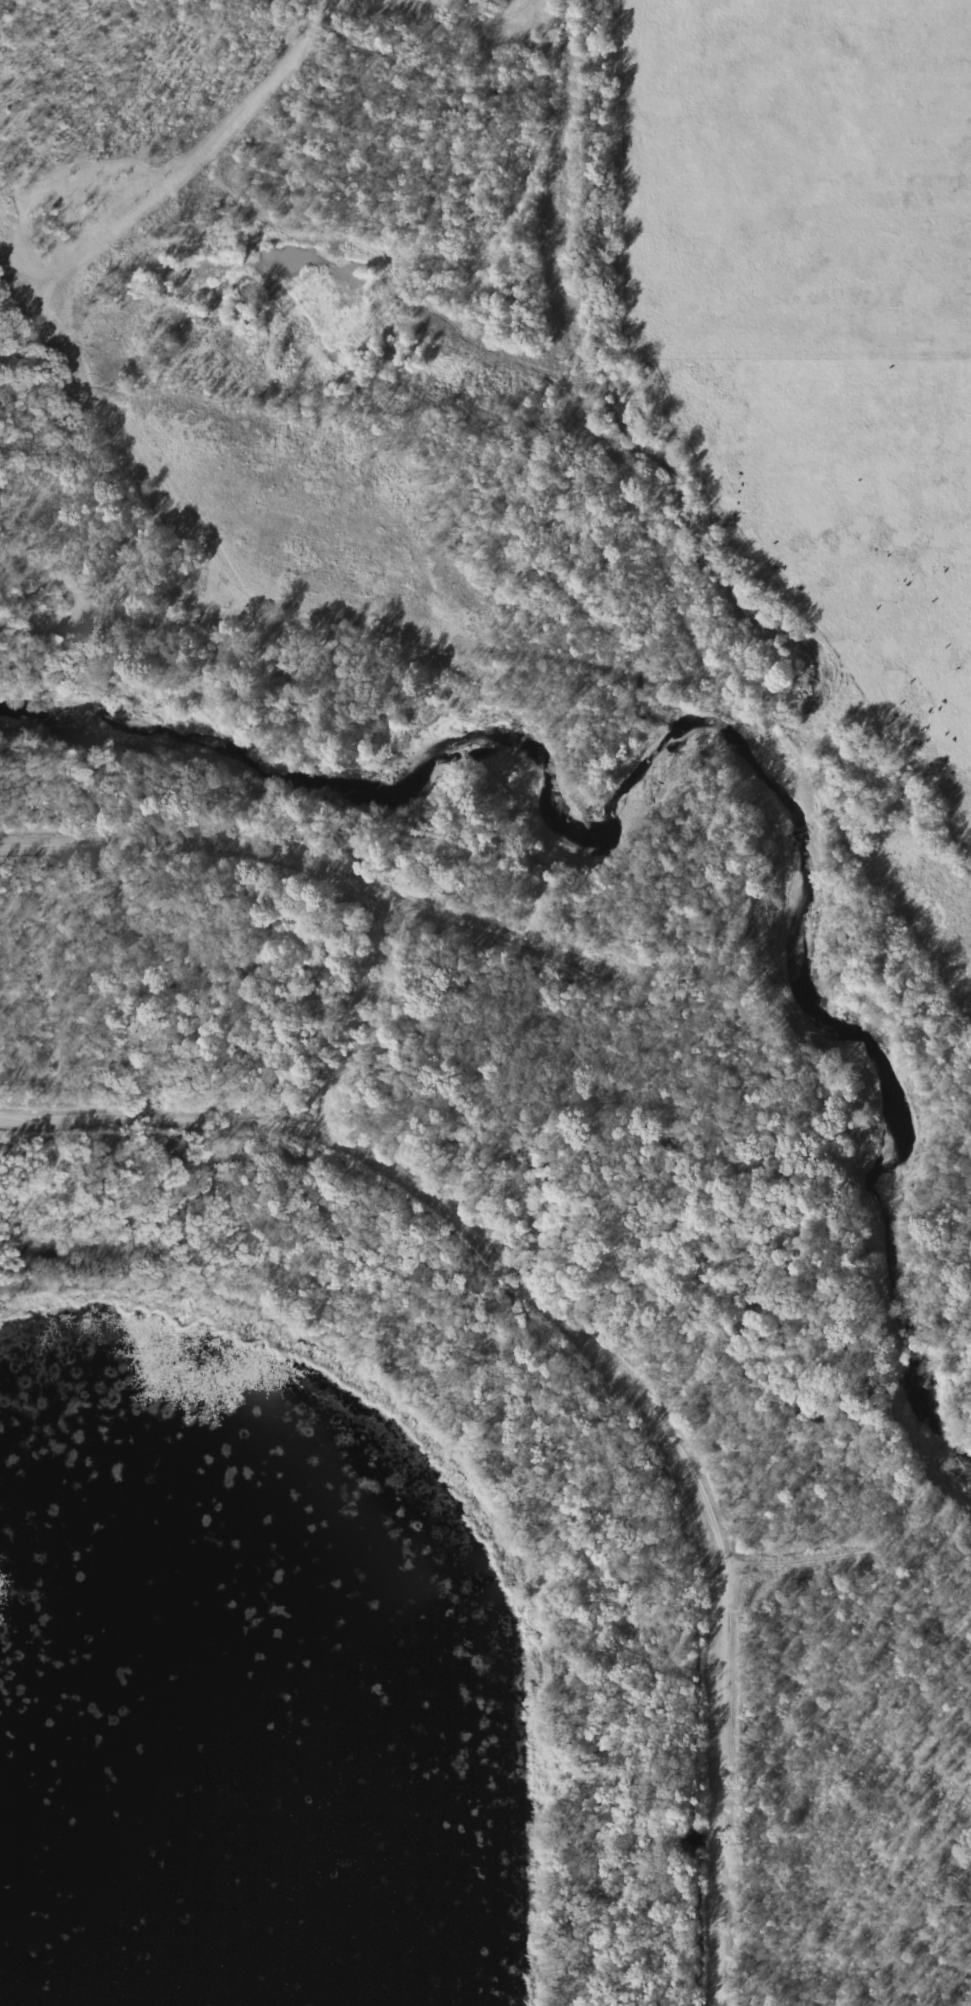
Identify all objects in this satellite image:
road: (312, 863)
road: (352, 1013)
road: (601, 1358)

